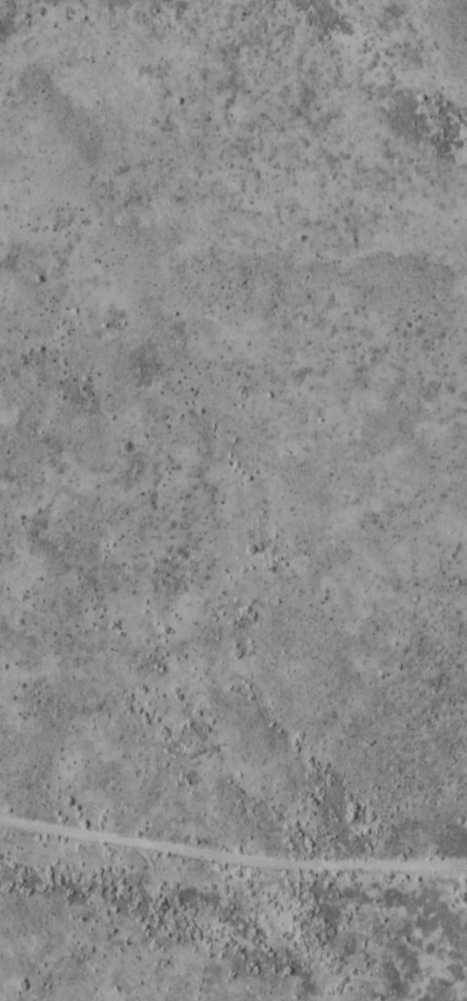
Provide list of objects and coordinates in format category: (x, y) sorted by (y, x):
road: (232, 855)

